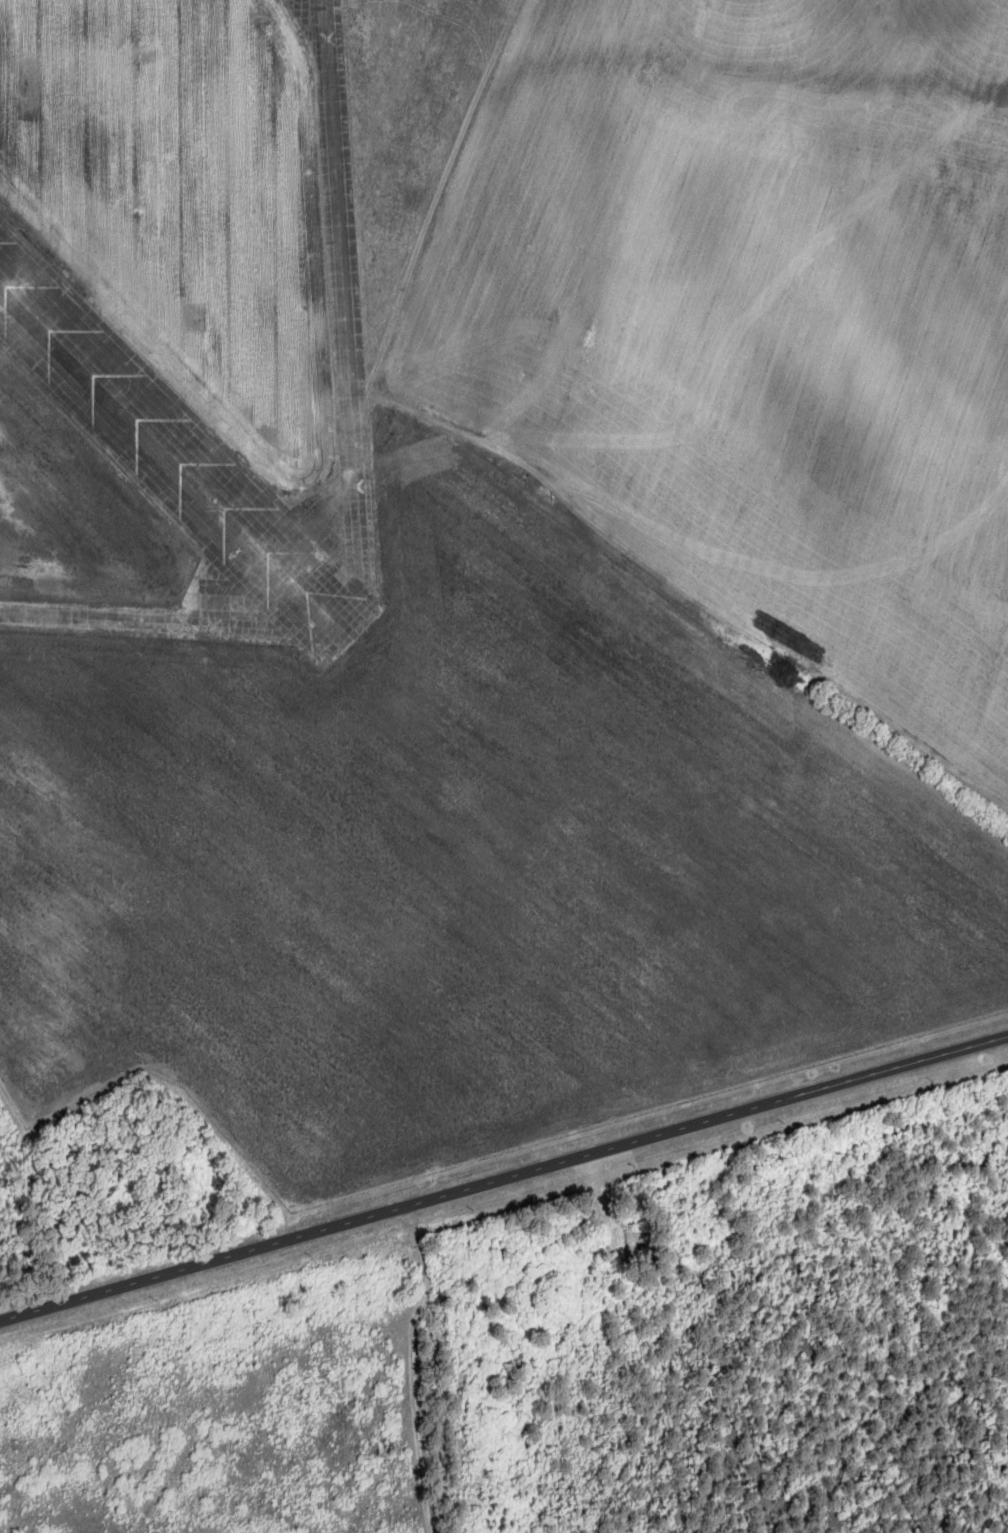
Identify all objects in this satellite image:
airport taxiway: (264, 545)
road: (504, 1179)

